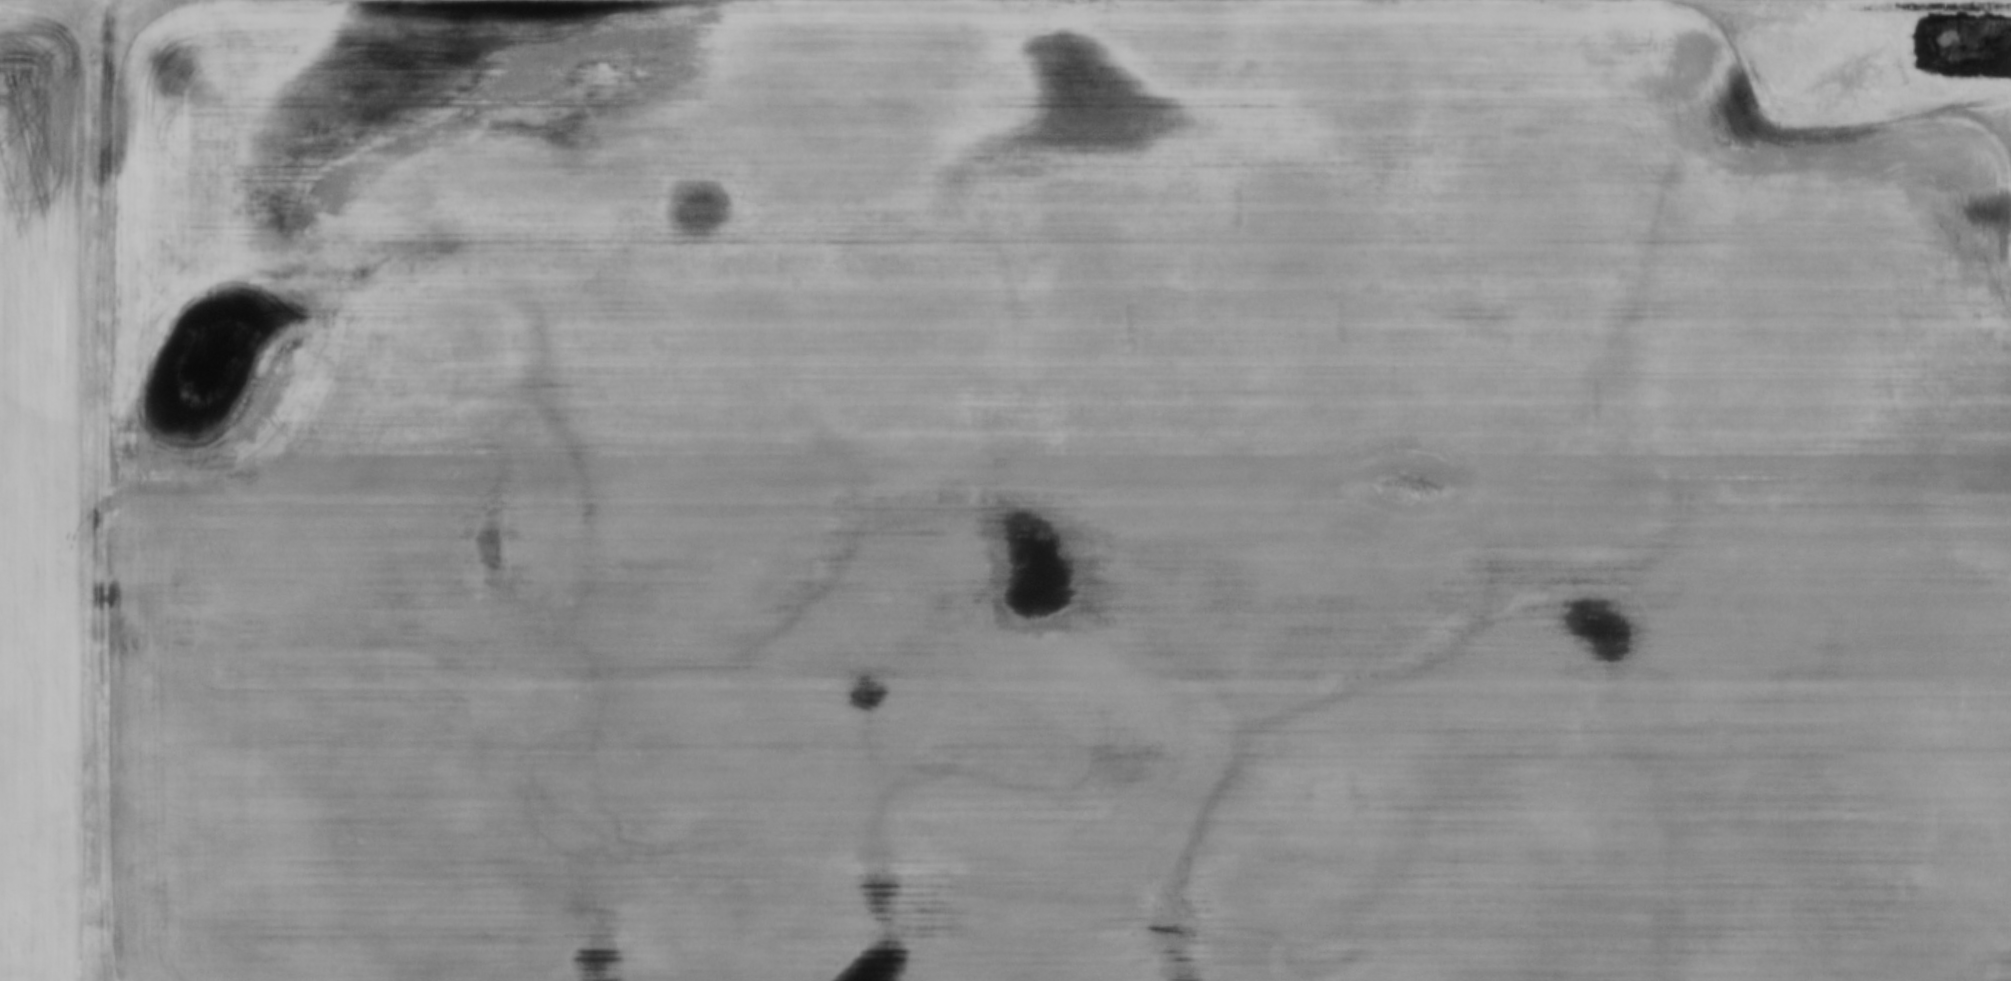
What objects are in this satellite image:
road: (116, 490)

